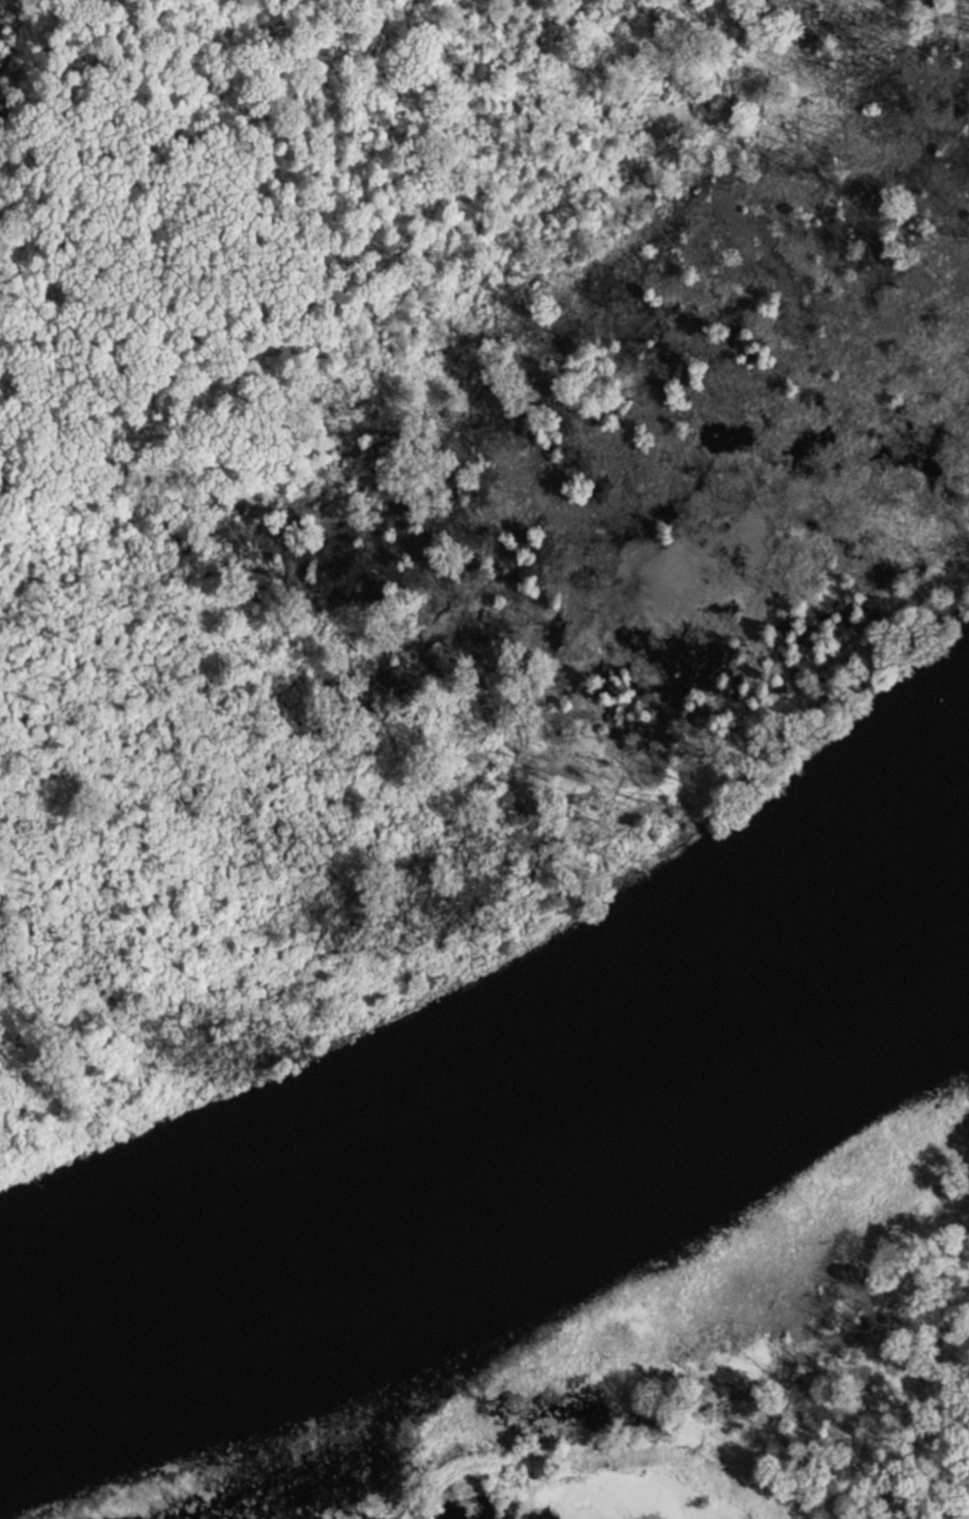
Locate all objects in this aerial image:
river: (508, 1163)
road: (590, 1473)

